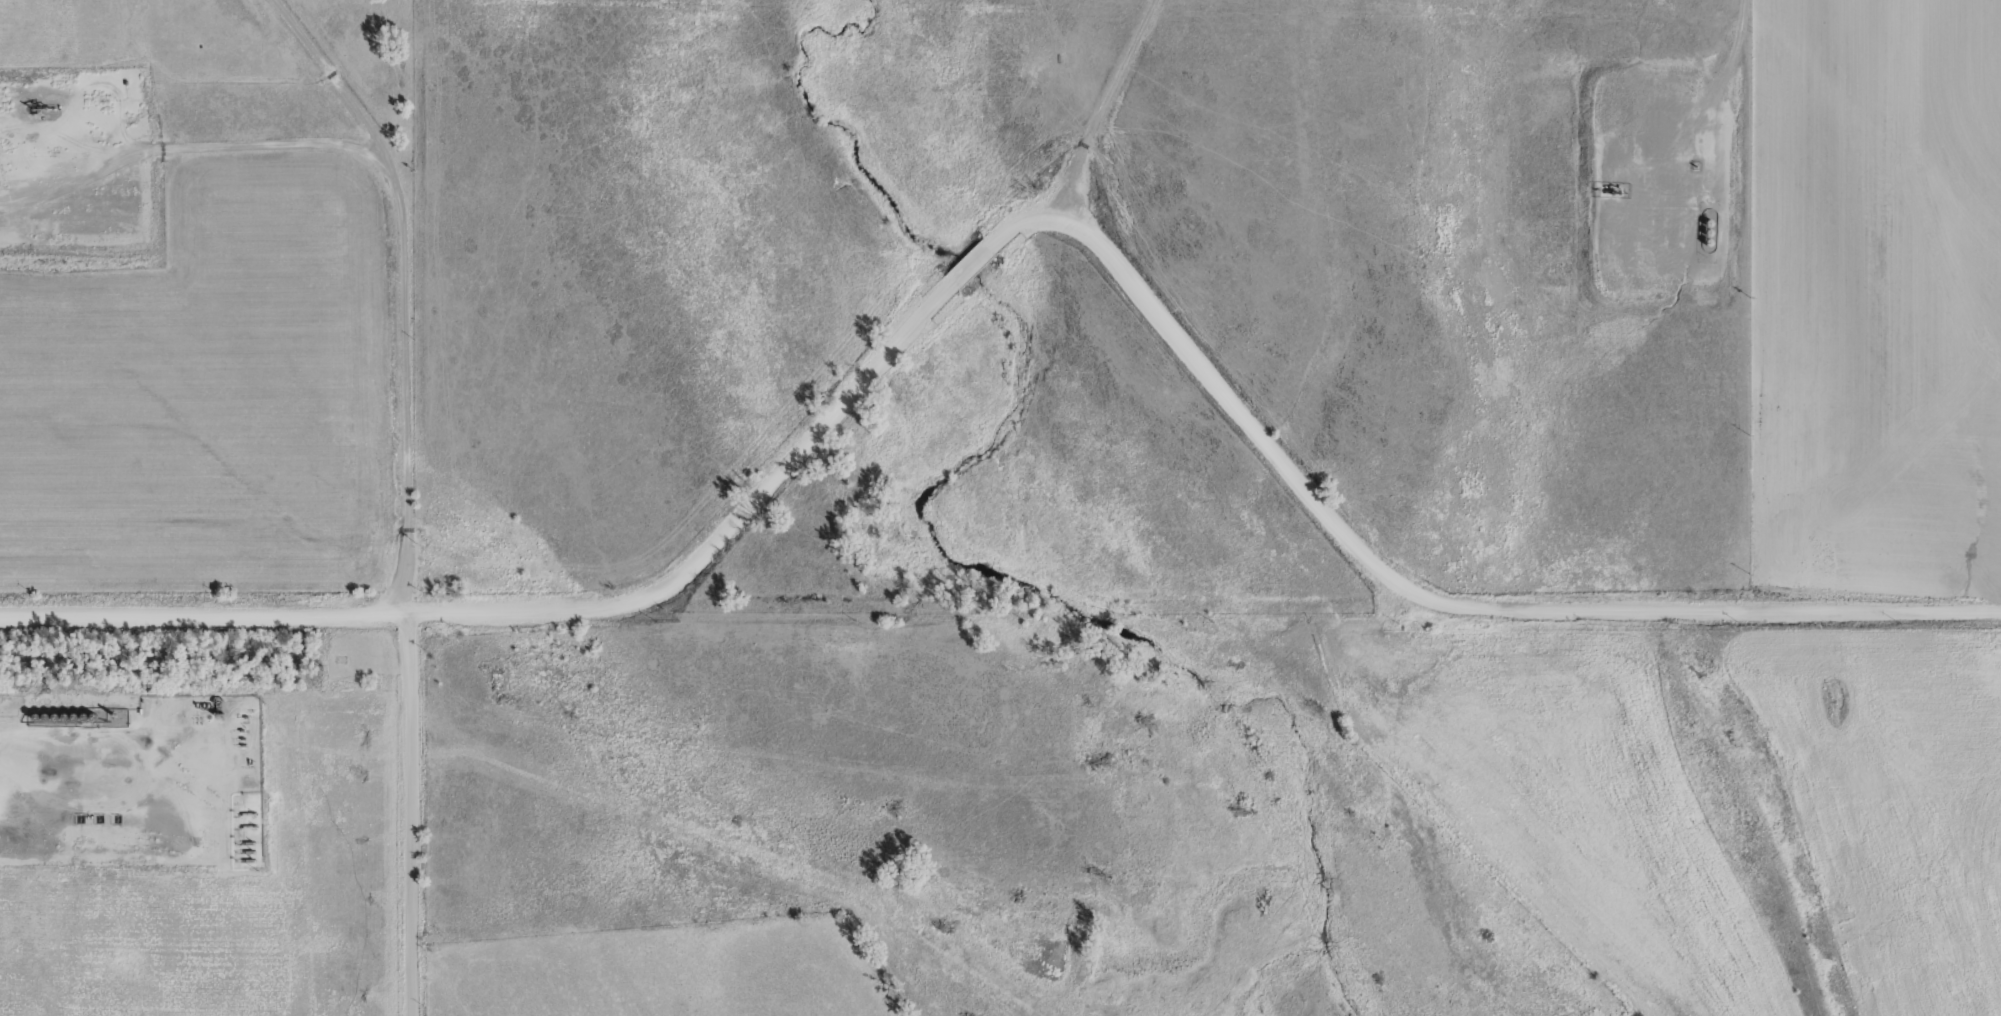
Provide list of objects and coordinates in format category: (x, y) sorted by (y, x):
building: (29, 227)
building: (102, 227)
road: (1007, 233)
park: (341, 659)
road: (412, 813)

